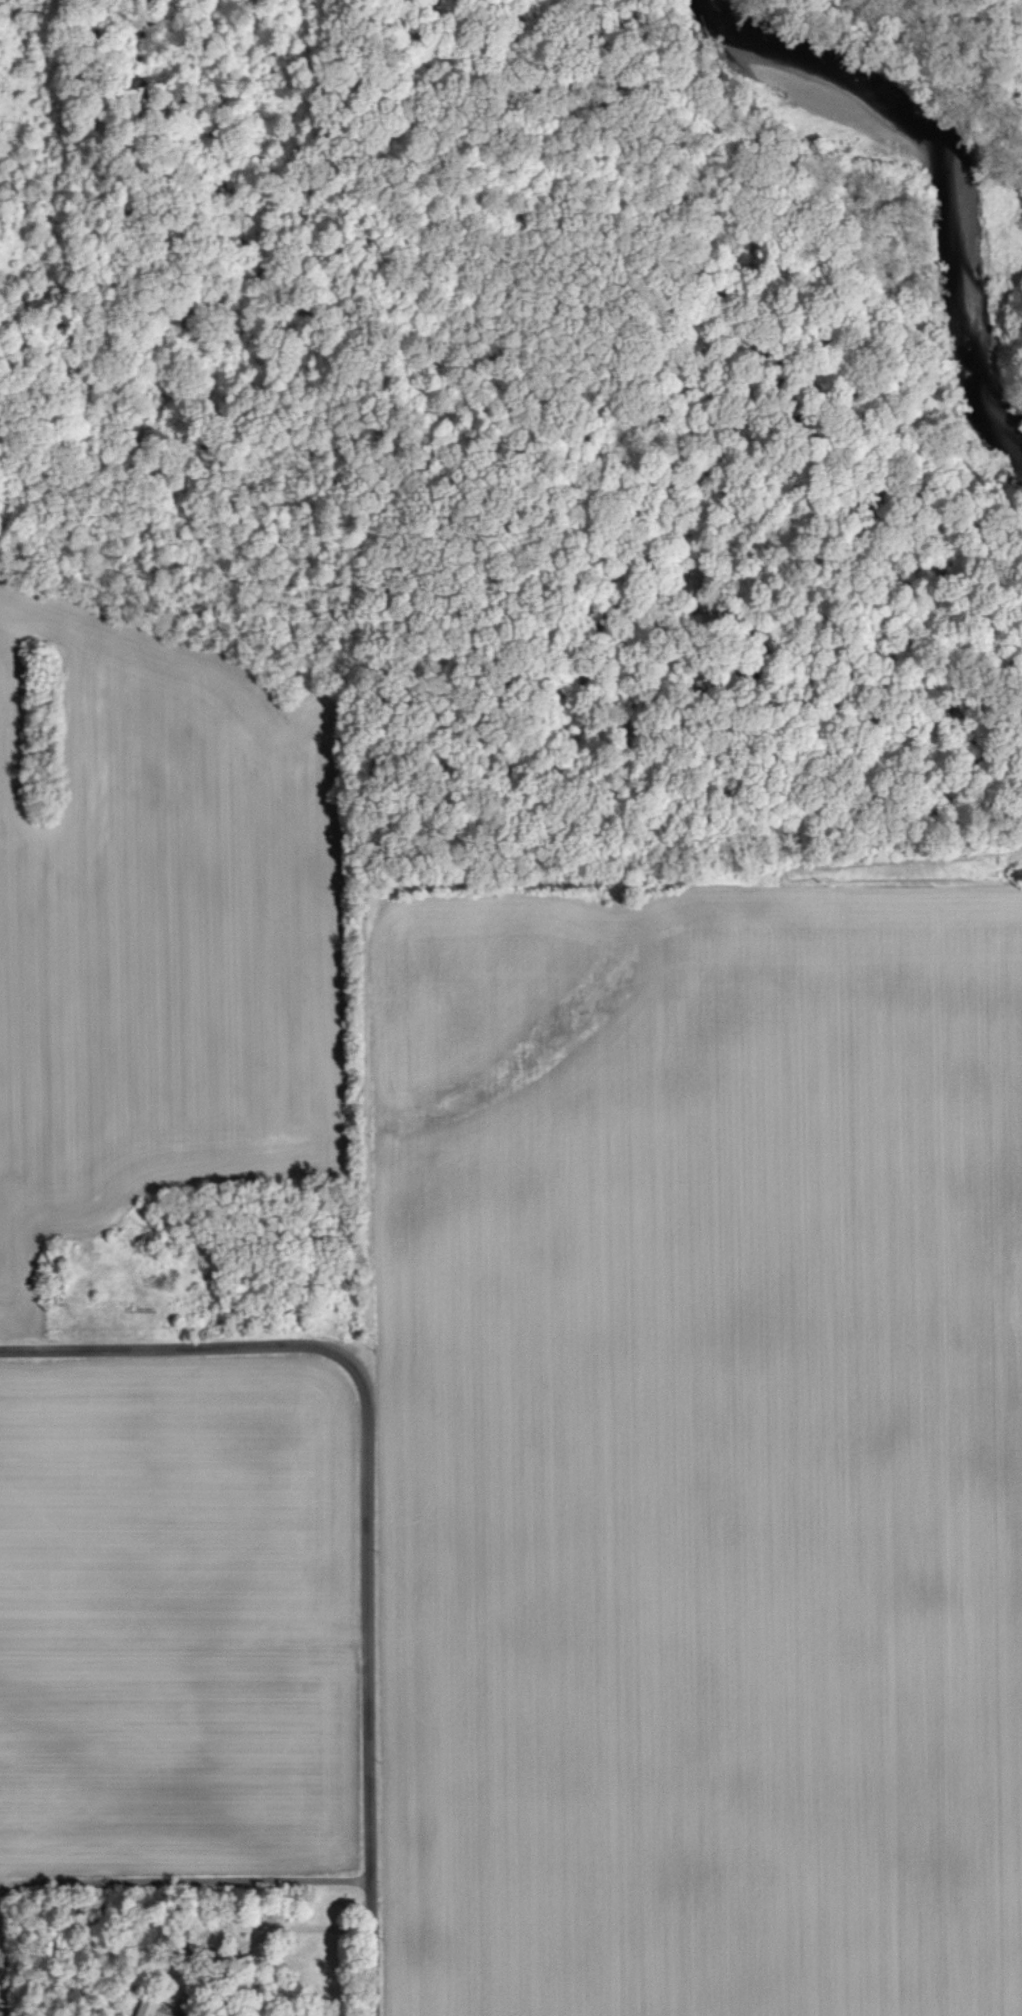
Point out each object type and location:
road: (174, 1349)
road: (368, 1685)
road: (183, 1888)
building: (213, 1935)
road: (261, 1935)
road: (0, 1959)

